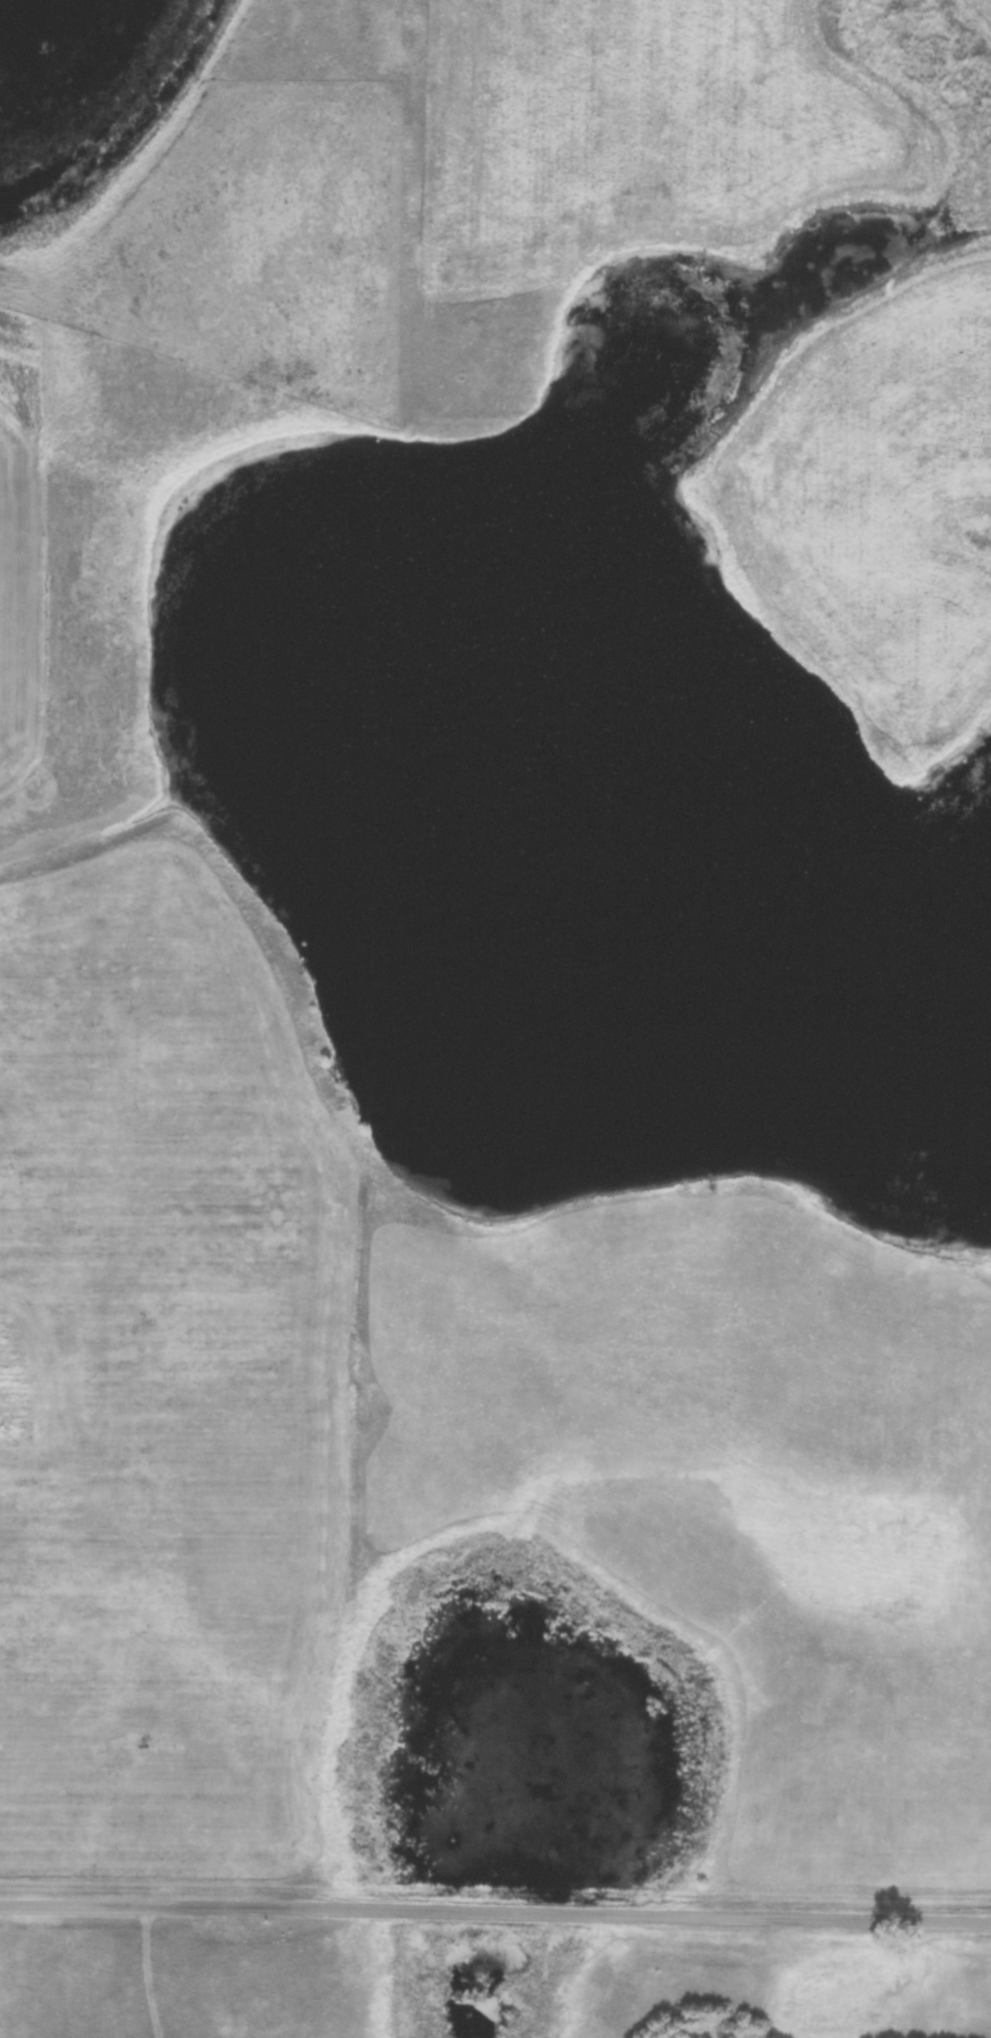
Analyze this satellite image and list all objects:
road: (495, 1910)

